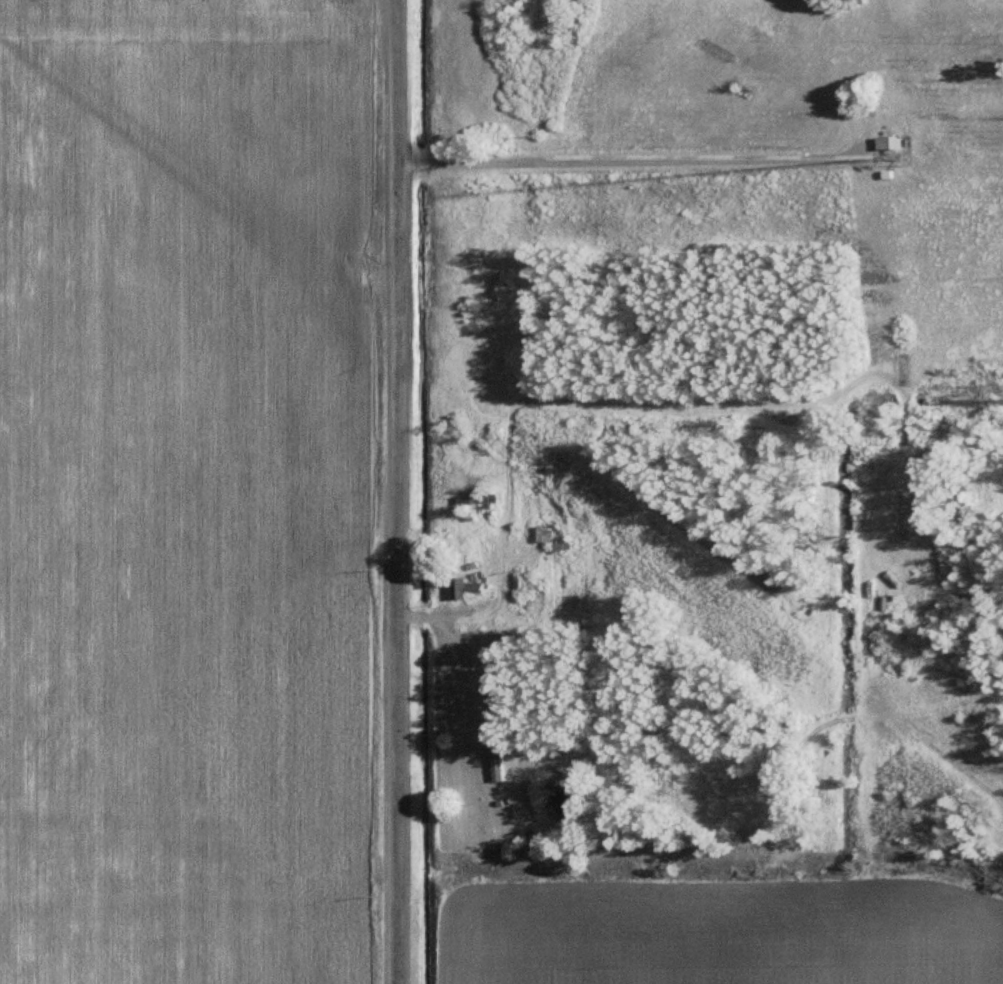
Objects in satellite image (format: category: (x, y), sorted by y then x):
building: (898, 142)
road: (394, 492)
building: (486, 501)
building: (550, 534)
building: (475, 588)
building: (505, 757)

